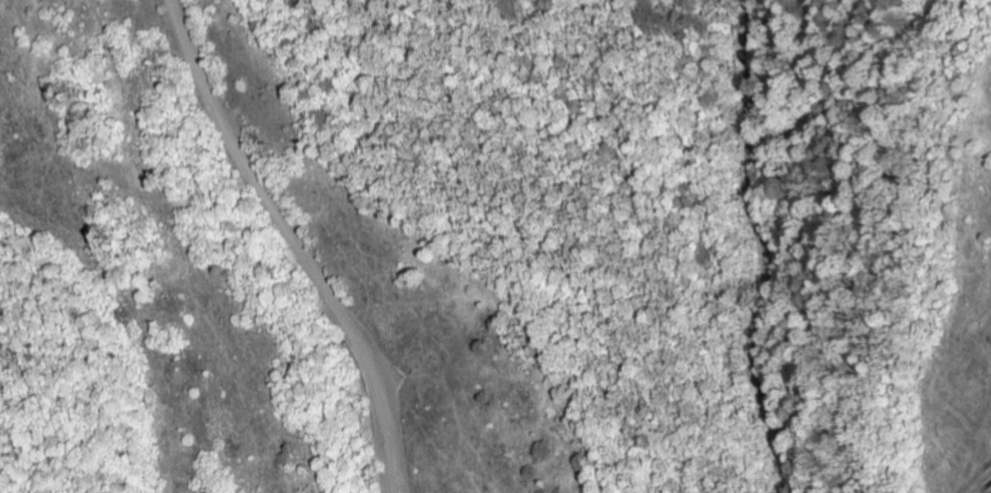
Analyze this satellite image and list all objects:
road: (290, 241)
road: (725, 246)

